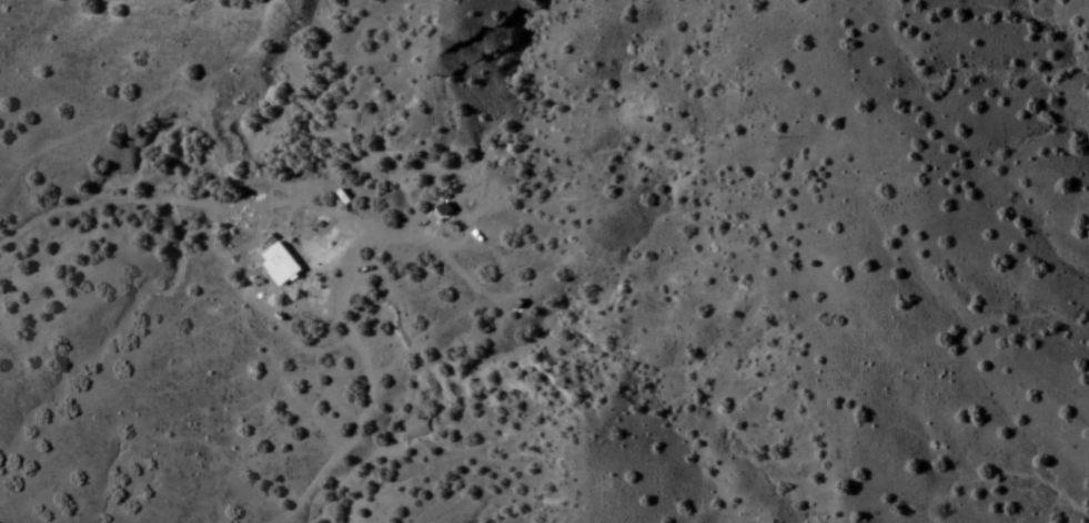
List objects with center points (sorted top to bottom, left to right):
building: (278, 266)

